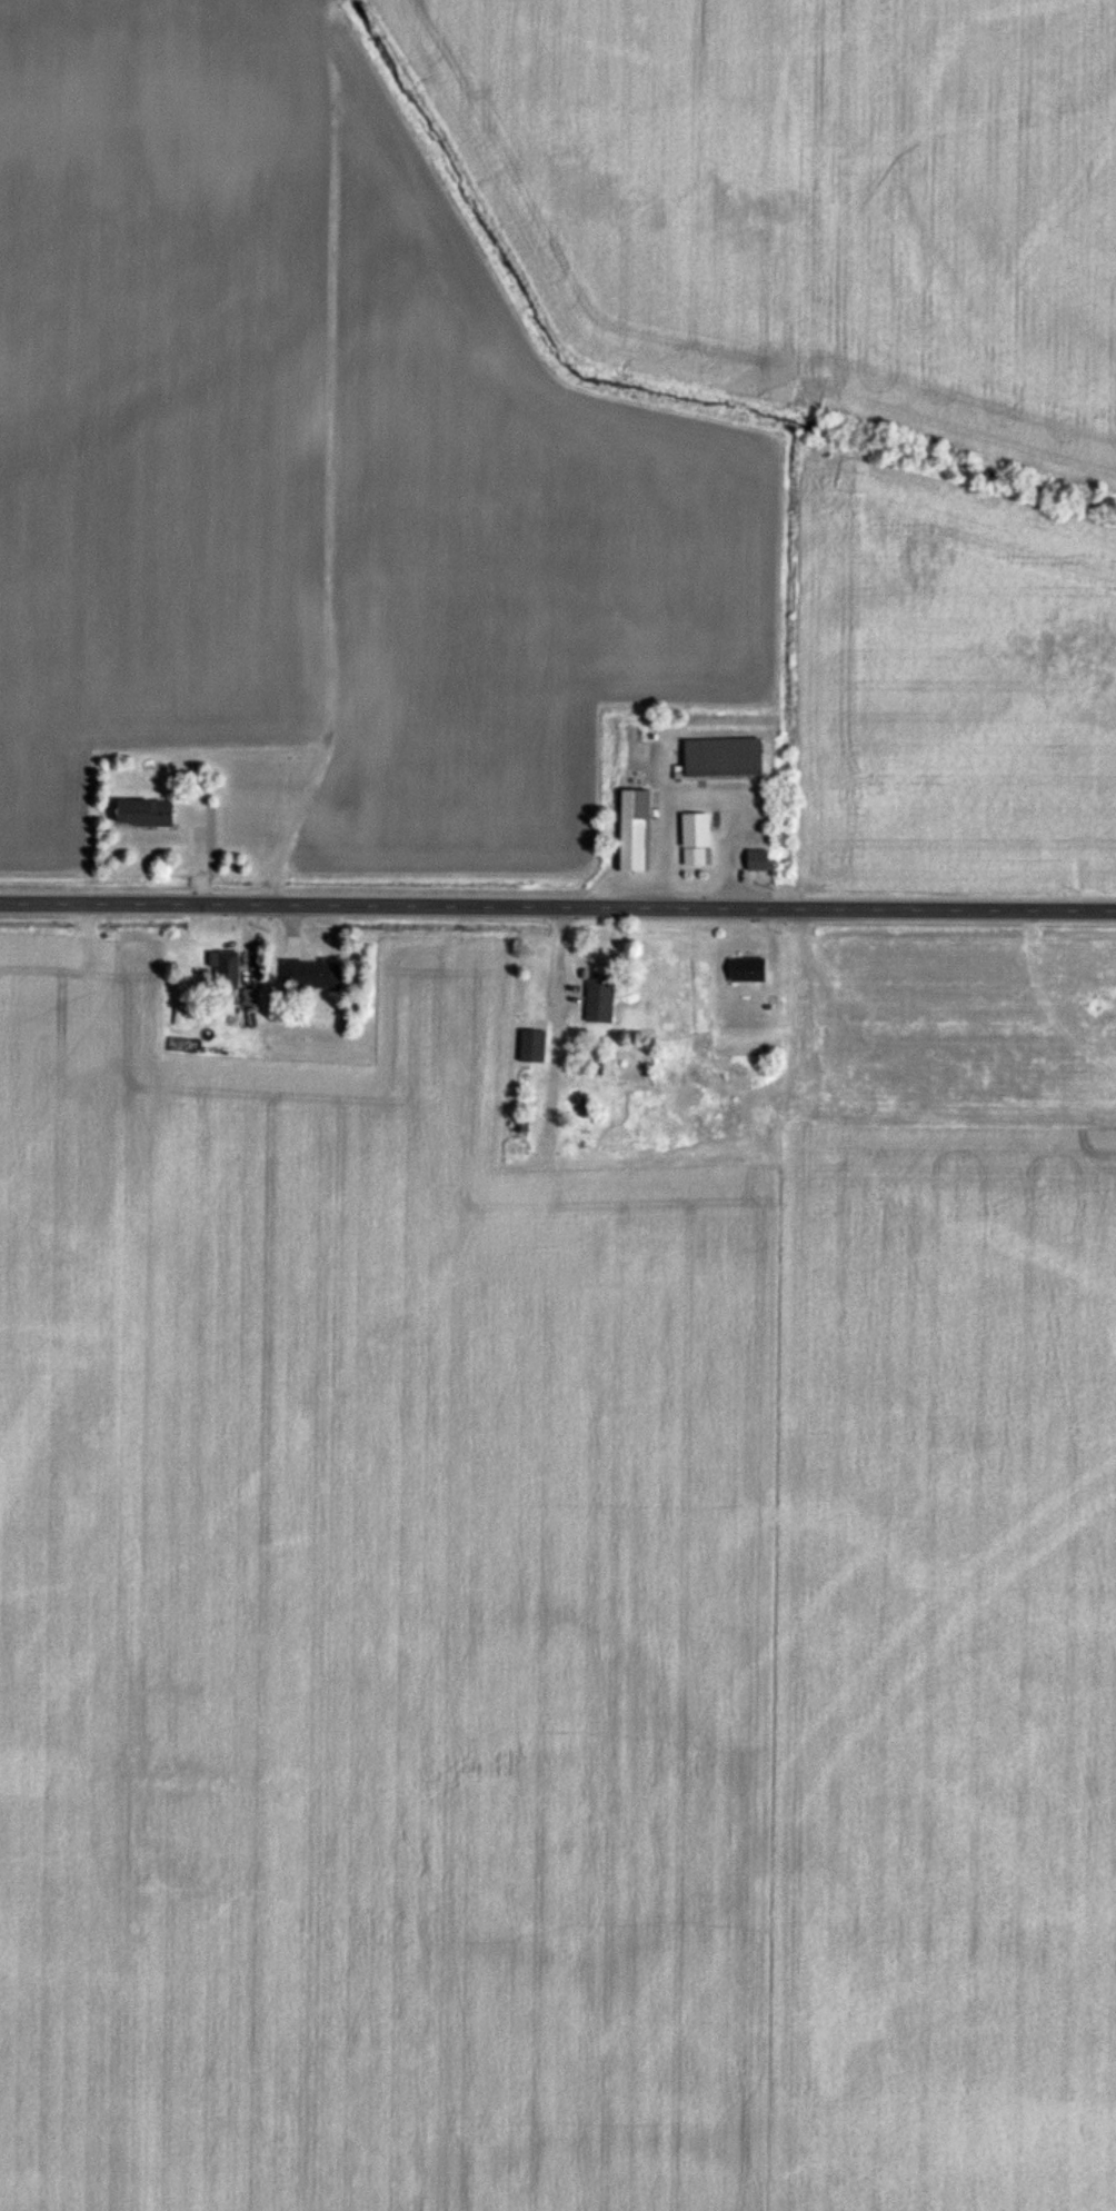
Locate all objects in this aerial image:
building: (725, 756)
building: (147, 814)
building: (636, 829)
building: (695, 856)
building: (759, 859)
road: (558, 903)
building: (228, 967)
building: (749, 969)
building: (313, 974)
building: (600, 997)
building: (252, 998)
building: (534, 1045)
building: (585, 1053)

